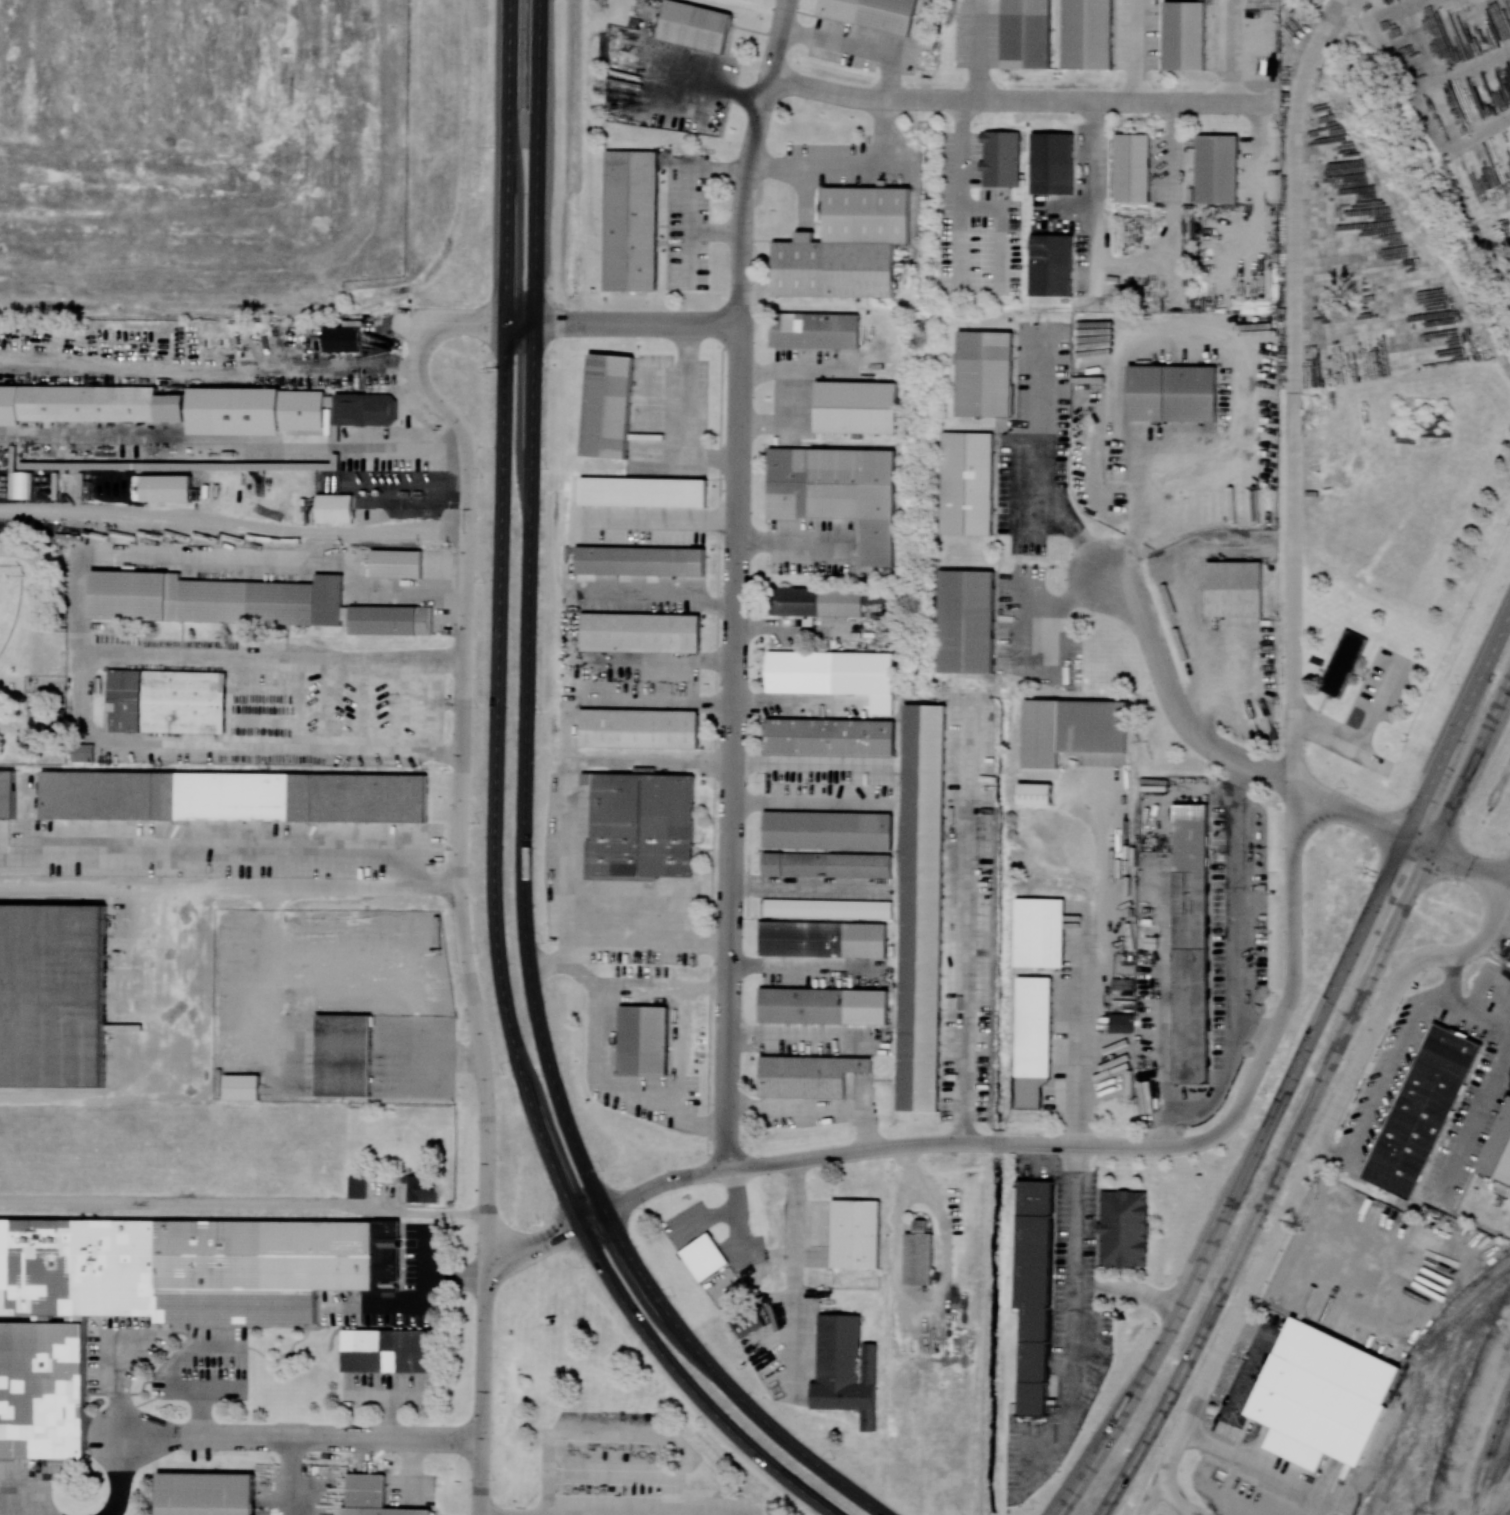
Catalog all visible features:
building: (840, 10)
building: (696, 26)
building: (1029, 33)
building: (1089, 33)
building: (1188, 35)
road: (853, 49)
road: (1017, 100)
landfill: (242, 143)
building: (1000, 158)
building: (1053, 162)
building: (1134, 168)
building: (1219, 169)
road: (692, 199)
building: (632, 221)
building: (846, 245)
building: (1052, 265)
road: (961, 271)
road: (623, 323)
building: (815, 330)
building: (343, 339)
road: (1295, 345)
building: (985, 370)
building: (1175, 394)
building: (607, 402)
building: (89, 404)
building: (856, 407)
building: (362, 409)
road: (684, 411)
building: (236, 412)
road: (782, 424)
road: (232, 446)
road: (1034, 468)
building: (967, 483)
building: (163, 488)
road: (1140, 489)
building: (642, 491)
building: (838, 492)
building: (336, 509)
road: (233, 522)
road: (794, 546)
road: (236, 559)
building: (640, 561)
building: (397, 562)
road: (737, 582)
building: (1236, 587)
road: (35, 595)
road: (658, 595)
building: (876, 596)
park: (8, 599)
building: (216, 599)
building: (795, 601)
building: (841, 602)
road: (1050, 604)
building: (390, 620)
building: (967, 620)
building: (640, 631)
road: (51, 639)
building: (1342, 663)
building: (800, 671)
road: (81, 690)
road: (1174, 699)
road: (660, 700)
building: (184, 701)
building: (638, 728)
building: (1042, 732)
road: (570, 733)
building: (829, 737)
road: (1364, 740)
building: (82, 752)
road: (652, 762)
road: (460, 764)
road: (882, 786)
building: (7, 794)
building: (1034, 794)
building: (234, 796)
road: (493, 815)
road: (523, 821)
building: (640, 826)
building: (828, 830)
building: (1191, 838)
road: (1419, 843)
road: (231, 854)
building: (827, 865)
road: (1468, 866)
road: (1508, 879)
road: (1508, 883)
road: (137, 886)
road: (345, 887)
building: (827, 908)
building: (921, 908)
road: (963, 923)
building: (1039, 933)
building: (823, 939)
road: (649, 940)
road: (570, 963)
road: (804, 965)
road: (1449, 982)
road: (358, 985)
road: (147, 988)
road: (706, 990)
building: (52, 997)
road: (606, 998)
building: (821, 1006)
road: (1475, 1011)
building: (1121, 1023)
building: (1034, 1028)
building: (644, 1041)
building: (344, 1055)
road: (1077, 1058)
road: (1294, 1073)
building: (807, 1076)
building: (241, 1087)
road: (1380, 1088)
road: (1312, 1102)
road: (811, 1107)
building: (1422, 1115)
road: (1473, 1121)
road: (1072, 1141)
building: (1498, 1153)
road: (1306, 1174)
building: (357, 1186)
building: (421, 1188)
road: (731, 1189)
road: (267, 1207)
road: (704, 1221)
building: (1123, 1228)
building: (856, 1231)
road: (740, 1236)
building: (704, 1256)
building: (919, 1256)
road: (769, 1260)
road: (792, 1278)
road: (1126, 1288)
building: (1034, 1293)
road: (1067, 1316)
building: (748, 1321)
building: (839, 1347)
building: (391, 1350)
railway: (1422, 1351)
building: (43, 1388)
building: (1327, 1392)
road: (482, 1406)
road: (303, 1439)
railway: (1487, 1449)
building: (1296, 1450)
railway: (1494, 1482)
building: (208, 1494)
road: (1152, 1494)
railway: (1505, 1509)
building: (386, 1511)
road: (611, 1513)
road: (1192, 1513)

